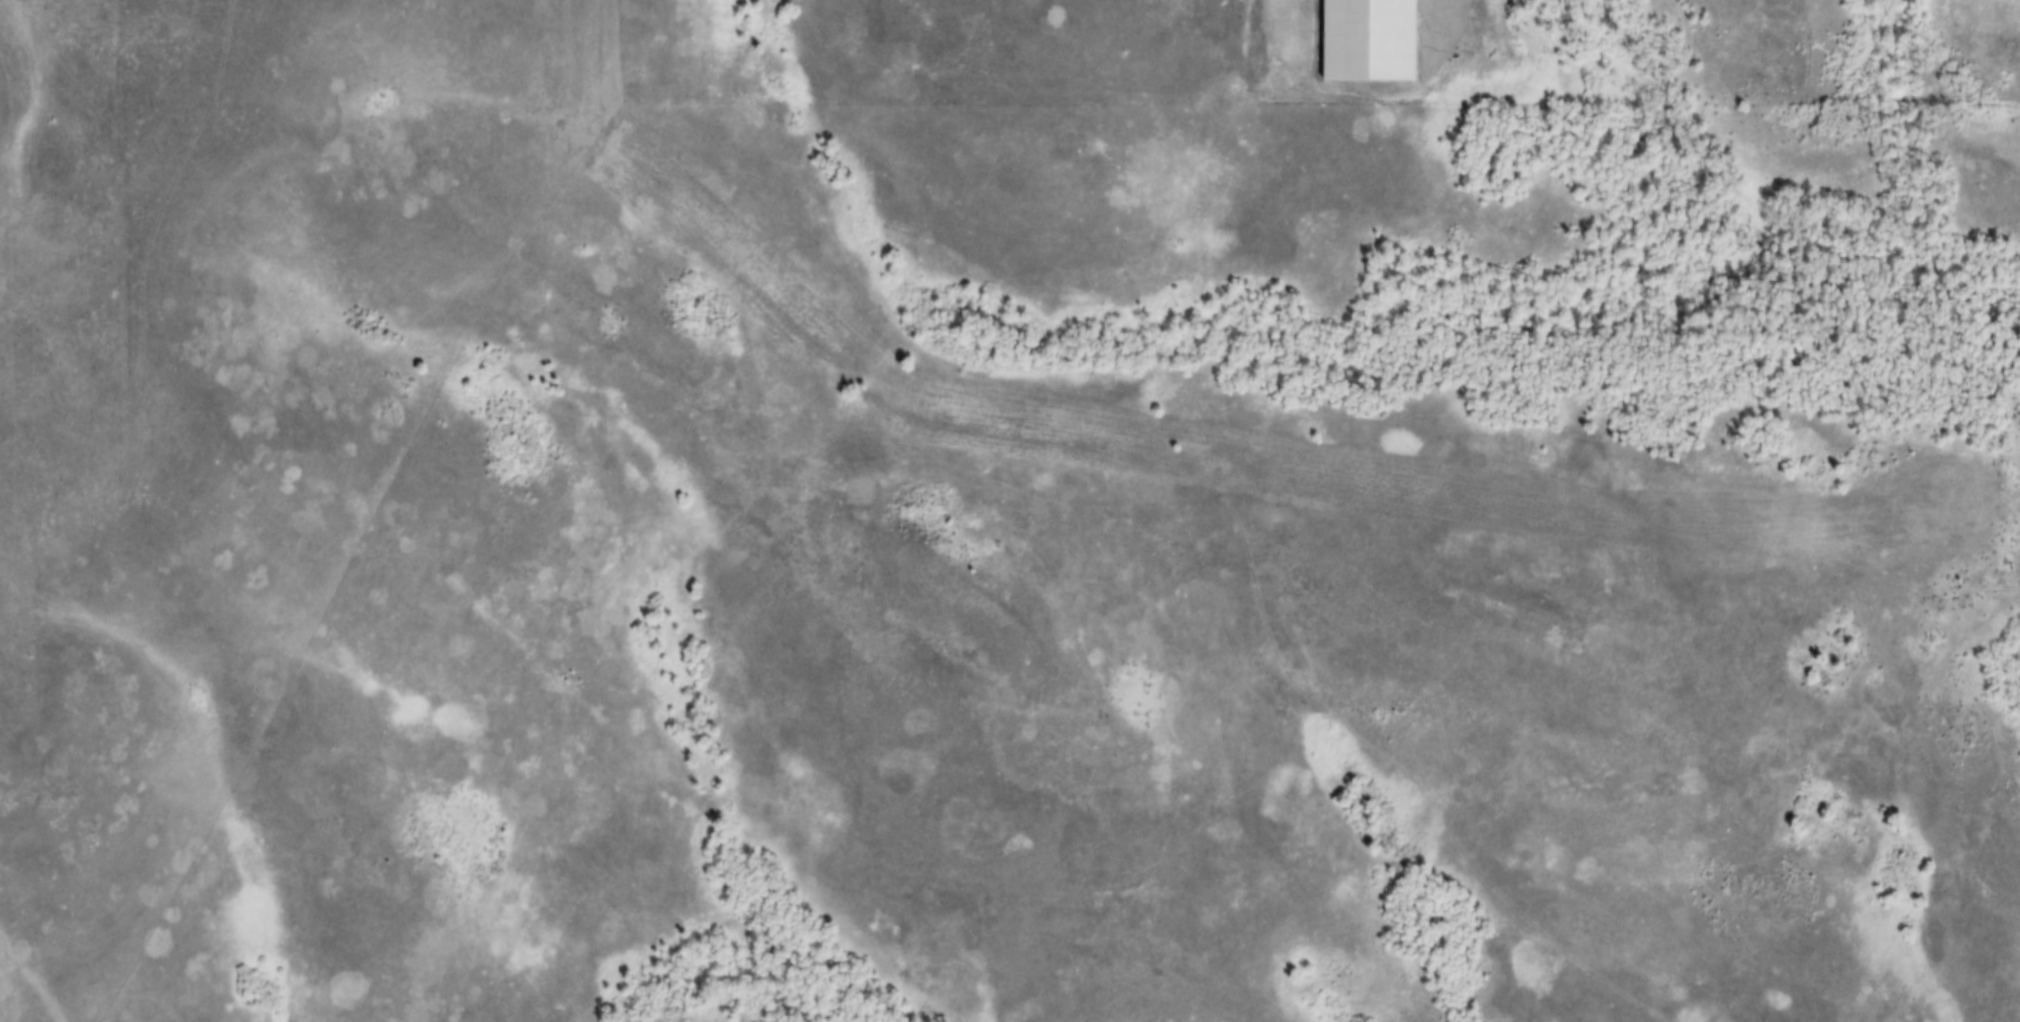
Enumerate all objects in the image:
road: (152, 303)

